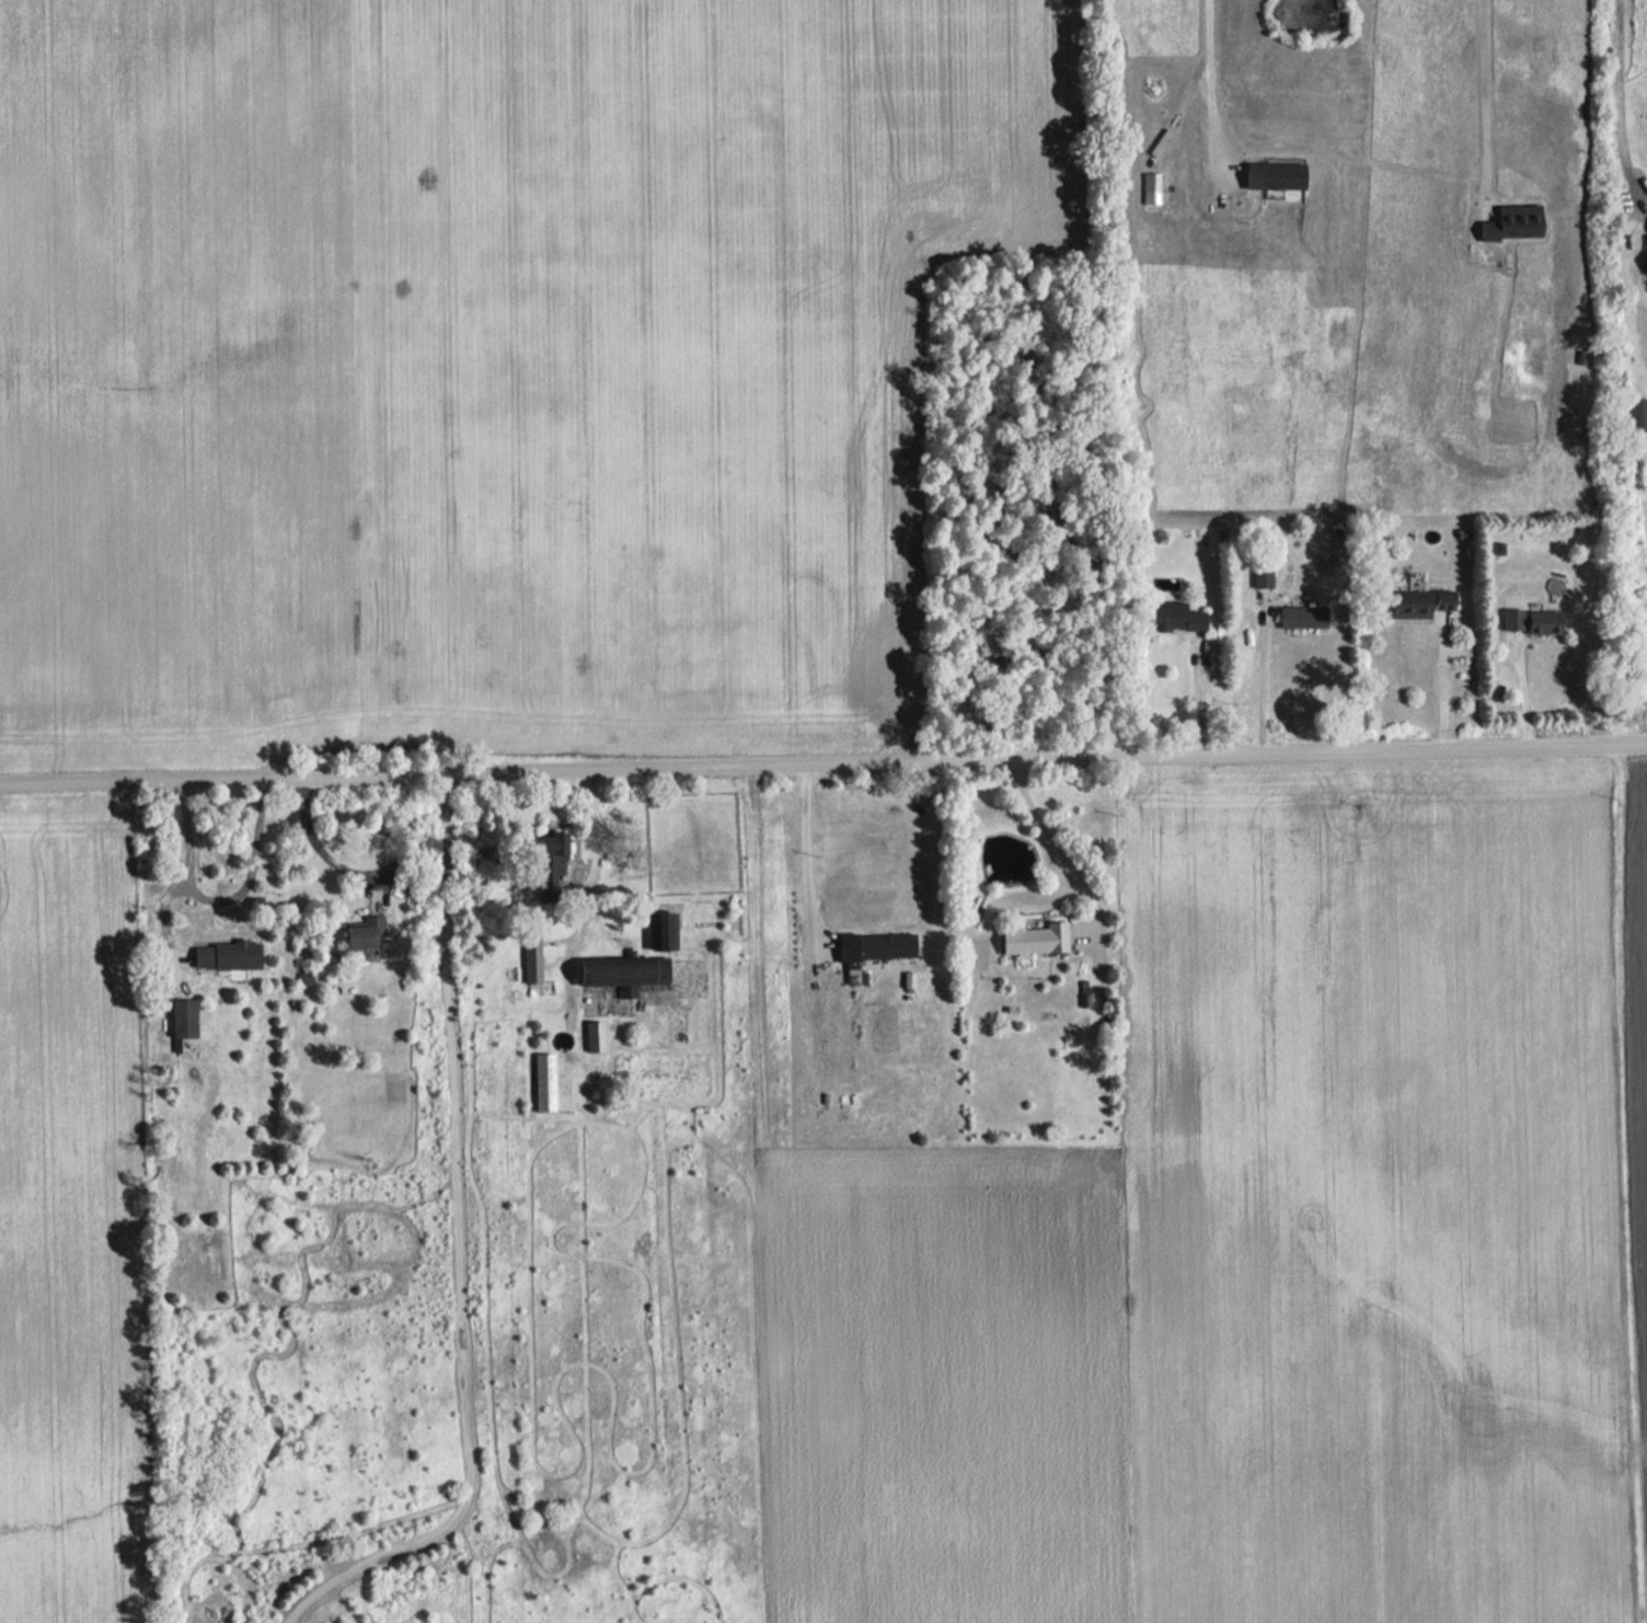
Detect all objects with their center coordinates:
road: (1208, 78)
road: (1621, 102)
road: (1485, 104)
building: (1275, 175)
building: (1152, 187)
building: (1513, 222)
building: (1646, 266)
building: (1637, 415)
building: (1263, 577)
building: (1416, 602)
building: (1303, 615)
building: (1177, 617)
building: (1533, 620)
road: (1262, 681)
road: (1443, 688)
road: (1199, 693)
road: (823, 762)
road: (315, 839)
road: (1058, 841)
building: (552, 865)
road: (597, 871)
road: (813, 877)
road: (220, 899)
road: (164, 902)
building: (664, 930)
building: (365, 932)
building: (1036, 939)
building: (875, 946)
building: (229, 956)
building: (532, 957)
building: (624, 972)
building: (306, 977)
building: (184, 1017)
building: (595, 1035)
building: (545, 1081)
road: (462, 1248)

